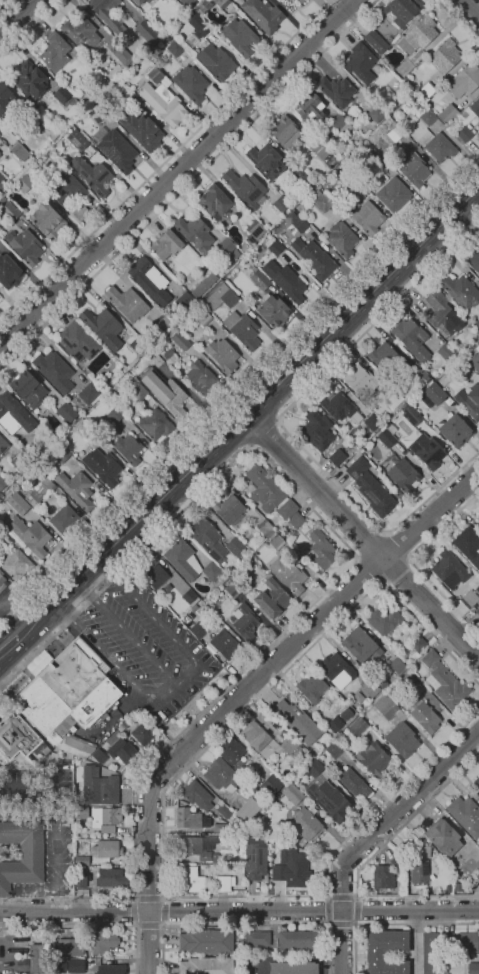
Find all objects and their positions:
building: (283, 0)
building: (148, 1)
building: (301, 1)
building: (139, 2)
building: (188, 2)
road: (3, 3)
building: (221, 3)
building: (204, 5)
road: (469, 9)
building: (399, 10)
building: (108, 14)
building: (263, 14)
road: (20, 19)
road: (457, 22)
road: (29, 26)
building: (198, 27)
building: (147, 31)
building: (82, 33)
building: (418, 35)
building: (240, 36)
building: (376, 41)
building: (175, 48)
building: (55, 51)
building: (446, 55)
building: (123, 56)
building: (217, 61)
building: (361, 62)
building: (404, 69)
building: (155, 74)
building: (30, 79)
building: (465, 79)
building: (191, 83)
building: (428, 89)
building: (337, 90)
building: (92, 91)
building: (392, 93)
building: (61, 95)
building: (77, 95)
building: (5, 100)
building: (135, 101)
building: (164, 103)
building: (310, 106)
building: (475, 107)
building: (448, 113)
building: (98, 114)
building: (376, 114)
building: (426, 115)
building: (465, 125)
building: (478, 125)
building: (342, 126)
building: (141, 130)
building: (53, 133)
building: (395, 133)
building: (295, 137)
building: (78, 139)
building: (440, 147)
building: (118, 150)
building: (19, 151)
building: (265, 160)
road: (164, 161)
building: (415, 169)
road: (176, 172)
building: (297, 173)
building: (94, 176)
building: (2, 182)
building: (24, 183)
road: (187, 183)
building: (246, 188)
building: (331, 191)
building: (393, 194)
building: (69, 195)
building: (2, 199)
building: (322, 201)
building: (215, 202)
building: (282, 205)
building: (293, 213)
building: (368, 217)
building: (48, 221)
building: (300, 223)
building: (254, 231)
building: (196, 234)
building: (342, 238)
building: (167, 243)
building: (25, 245)
building: (226, 246)
building: (244, 247)
building: (275, 248)
building: (235, 254)
building: (474, 259)
building: (317, 260)
building: (9, 271)
building: (259, 278)
building: (150, 280)
building: (286, 281)
building: (204, 285)
building: (462, 290)
building: (220, 297)
building: (185, 301)
building: (127, 303)
building: (273, 311)
building: (443, 313)
building: (203, 317)
building: (163, 322)
building: (102, 323)
building: (477, 323)
building: (243, 329)
building: (410, 332)
building: (180, 340)
building: (78, 341)
building: (139, 344)
building: (444, 350)
building: (222, 354)
building: (169, 355)
building: (385, 357)
building: (474, 360)
building: (461, 368)
building: (54, 370)
building: (419, 374)
building: (201, 378)
building: (361, 381)
road: (239, 386)
building: (28, 388)
building: (139, 391)
building: (165, 391)
building: (88, 393)
building: (433, 394)
building: (394, 398)
building: (469, 401)
road: (258, 402)
building: (340, 407)
building: (66, 412)
building: (14, 414)
building: (411, 414)
building: (114, 415)
road: (279, 421)
building: (370, 421)
building: (155, 424)
building: (317, 430)
building: (455, 430)
road: (268, 435)
building: (386, 437)
building: (3, 445)
building: (128, 449)
building: (428, 451)
building: (337, 456)
building: (21, 460)
building: (103, 466)
building: (404, 475)
building: (2, 482)
building: (371, 487)
building: (264, 488)
building: (42, 489)
building: (77, 489)
building: (397, 493)
building: (18, 503)
building: (229, 508)
building: (287, 508)
building: (478, 518)
building: (64, 519)
building: (295, 519)
building: (265, 526)
building: (3, 531)
building: (31, 535)
building: (292, 535)
road: (362, 537)
building: (208, 538)
building: (275, 540)
building: (468, 544)
road: (369, 545)
road: (397, 545)
building: (235, 546)
building: (251, 548)
building: (321, 549)
road: (409, 561)
building: (189, 562)
building: (17, 564)
building: (449, 569)
road: (367, 571)
road: (396, 572)
building: (155, 575)
building: (289, 575)
building: (235, 580)
road: (336, 580)
building: (2, 582)
building: (233, 590)
building: (189, 595)
building: (272, 598)
building: (469, 598)
building: (193, 608)
building: (477, 610)
building: (186, 620)
building: (385, 620)
building: (245, 621)
road: (28, 628)
building: (199, 629)
road: (126, 632)
building: (226, 642)
parking lot: (144, 643)
road: (5, 644)
building: (361, 644)
road: (9, 645)
building: (415, 646)
building: (38, 662)
building: (397, 665)
building: (337, 670)
building: (363, 676)
building: (408, 680)
building: (444, 681)
road: (175, 683)
building: (312, 687)
building: (371, 688)
road: (244, 690)
building: (68, 696)
building: (358, 697)
building: (367, 708)
building: (425, 717)
building: (297, 721)
building: (124, 723)
building: (334, 723)
building: (358, 726)
building: (397, 726)
building: (276, 730)
building: (143, 732)
building: (19, 736)
building: (259, 739)
building: (136, 744)
building: (291, 746)
building: (333, 748)
building: (123, 750)
building: (232, 751)
building: (99, 755)
building: (287, 757)
building: (374, 759)
building: (313, 767)
building: (221, 775)
building: (477, 781)
building: (353, 782)
building: (271, 784)
building: (99, 786)
road: (36, 789)
building: (292, 793)
building: (478, 793)
building: (197, 794)
building: (275, 797)
building: (329, 800)
building: (270, 804)
building: (248, 809)
building: (224, 810)
building: (81, 812)
building: (465, 815)
building: (105, 818)
building: (190, 818)
building: (308, 820)
road: (163, 827)
building: (269, 827)
building: (74, 833)
road: (370, 836)
building: (443, 836)
building: (294, 837)
building: (194, 847)
building: (105, 848)
building: (424, 851)
building: (22, 853)
building: (314, 857)
building: (82, 860)
building: (255, 861)
road: (364, 862)
building: (291, 867)
building: (419, 871)
building: (80, 877)
building: (111, 877)
building: (383, 877)
building: (192, 880)
building: (224, 882)
building: (440, 889)
road: (147, 897)
road: (327, 897)
road: (355, 897)
road: (163, 910)
road: (131, 911)
road: (239, 911)
road: (353, 921)
road: (354, 923)
road: (149, 924)
road: (244, 924)
road: (329, 924)
road: (391, 924)
road: (92, 926)
building: (256, 940)
building: (297, 940)
building: (103, 941)
building: (206, 941)
building: (468, 941)
building: (449, 944)
building: (68, 946)
building: (386, 951)
building: (429, 953)
building: (38, 958)
building: (447, 959)
building: (76, 965)
building: (206, 965)
building: (294, 967)
building: (473, 968)
building: (111, 969)

